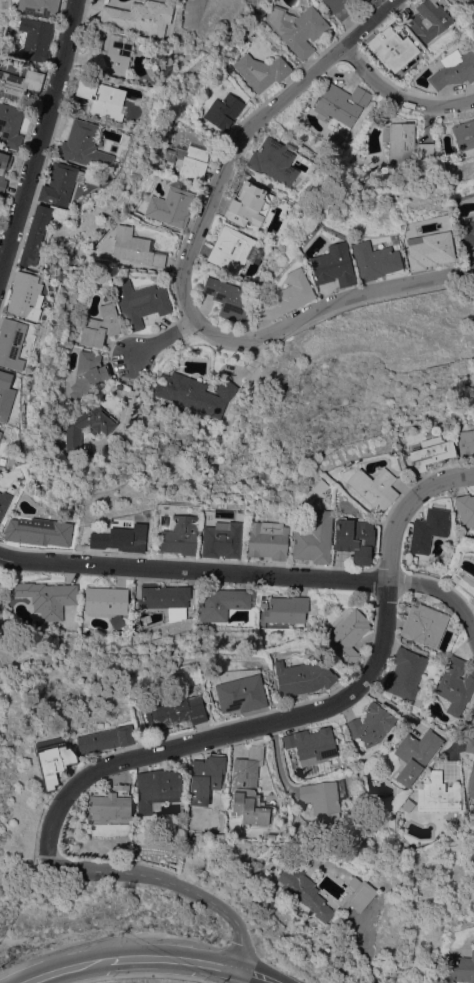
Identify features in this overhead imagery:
building: (356, 1)
building: (360, 1)
building: (463, 1)
building: (39, 6)
building: (338, 8)
building: (139, 16)
building: (429, 19)
building: (297, 27)
building: (36, 39)
building: (97, 40)
building: (473, 40)
building: (392, 49)
building: (115, 54)
building: (454, 68)
building: (261, 71)
building: (19, 83)
road: (400, 95)
building: (101, 98)
building: (341, 107)
building: (224, 111)
building: (10, 125)
road: (242, 130)
building: (464, 134)
road: (39, 137)
building: (405, 143)
building: (88, 144)
building: (186, 161)
building: (273, 161)
building: (3, 169)
building: (60, 183)
building: (170, 207)
building: (246, 208)
building: (473, 211)
building: (469, 232)
building: (35, 234)
building: (136, 247)
building: (429, 249)
building: (233, 250)
building: (374, 260)
building: (333, 265)
building: (25, 295)
building: (287, 296)
building: (227, 297)
building: (140, 303)
road: (327, 305)
building: (100, 326)
road: (161, 338)
building: (11, 342)
building: (88, 372)
building: (195, 392)
building: (5, 395)
building: (74, 432)
building: (0, 433)
building: (466, 442)
building: (429, 454)
building: (374, 487)
building: (4, 501)
building: (466, 508)
building: (429, 529)
building: (40, 530)
building: (181, 535)
building: (314, 537)
building: (120, 538)
building: (355, 538)
building: (223, 539)
building: (268, 539)
road: (248, 573)
building: (464, 581)
building: (47, 597)
building: (105, 599)
building: (169, 600)
building: (223, 602)
building: (287, 609)
building: (424, 623)
building: (347, 636)
building: (405, 673)
building: (302, 676)
building: (456, 685)
building: (238, 689)
building: (176, 711)
road: (304, 715)
building: (371, 724)
road: (461, 735)
building: (106, 739)
building: (312, 745)
building: (469, 745)
building: (416, 754)
building: (54, 760)
building: (206, 777)
building: (471, 781)
building: (157, 788)
building: (250, 790)
building: (438, 794)
building: (324, 796)
building: (112, 804)
building: (218, 836)
road: (173, 883)
building: (304, 890)
building: (358, 894)
road: (364, 951)
road: (177, 958)
road: (66, 967)
building: (460, 969)
road: (257, 977)

